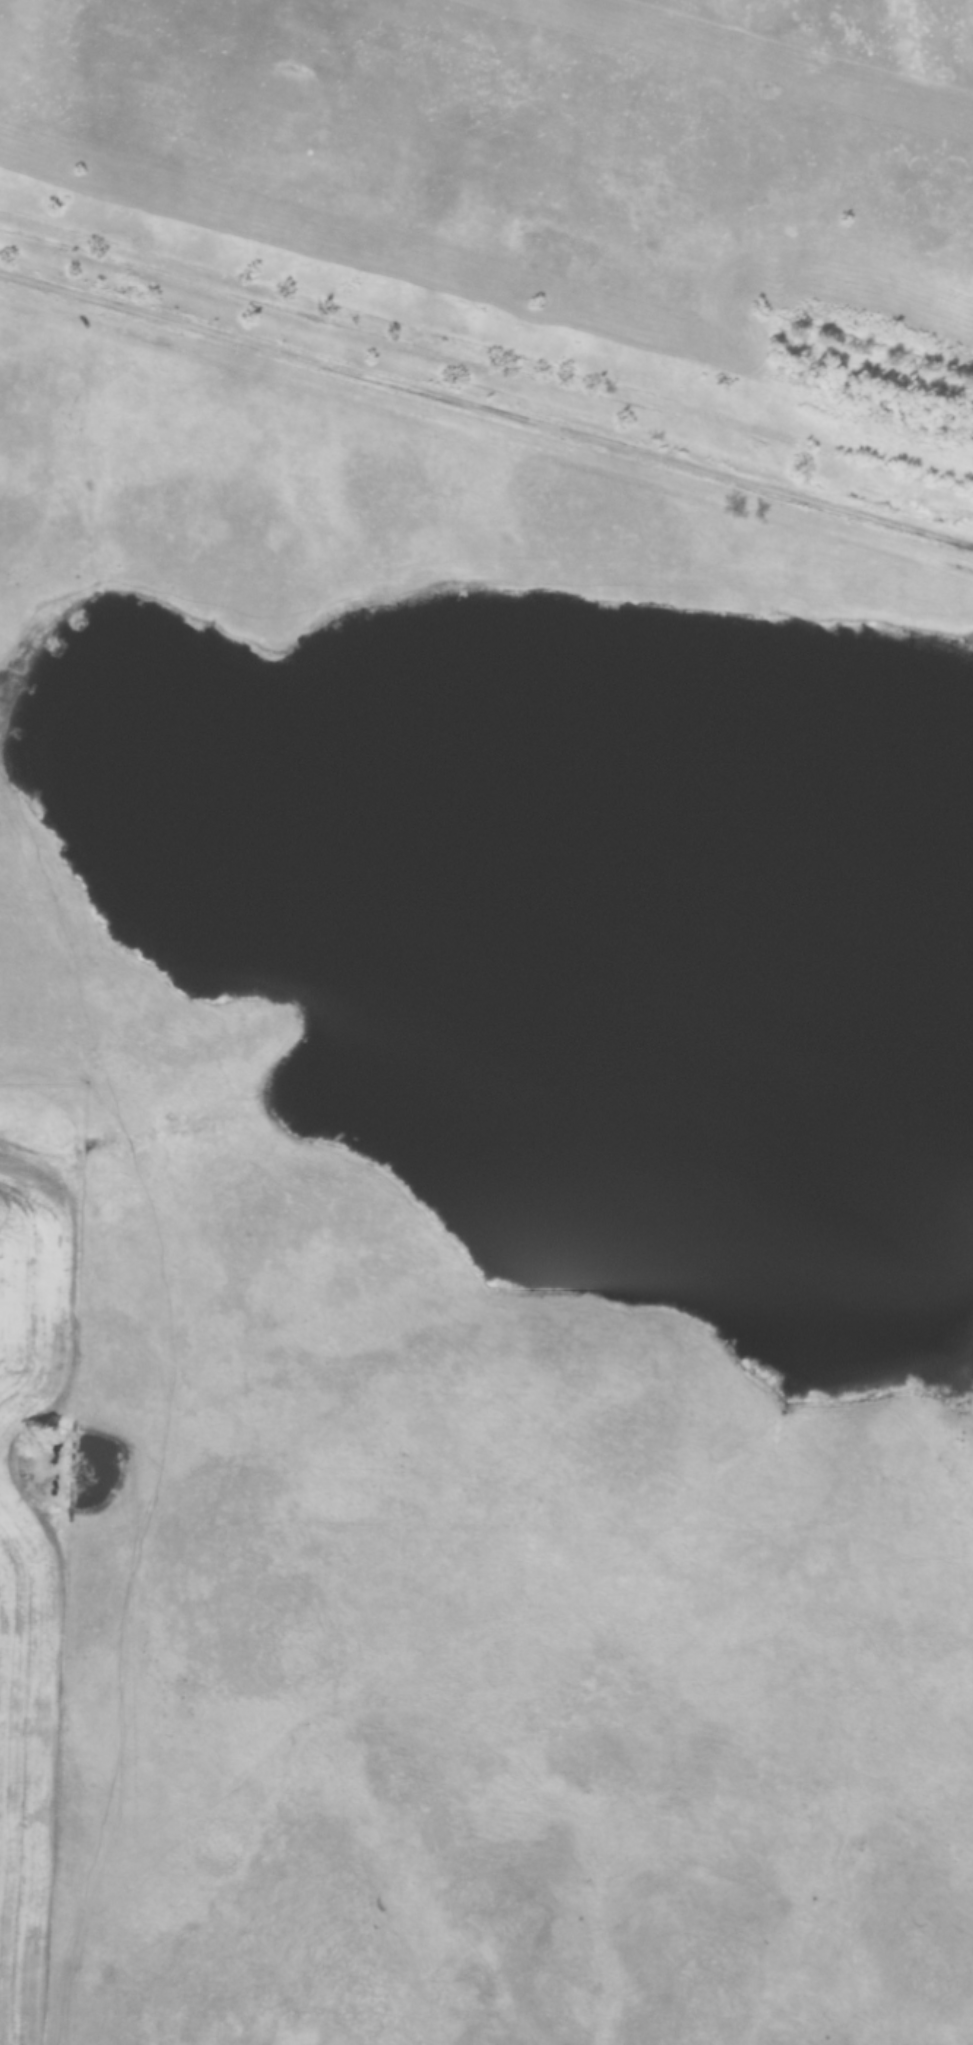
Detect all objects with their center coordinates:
road: (486, 409)

